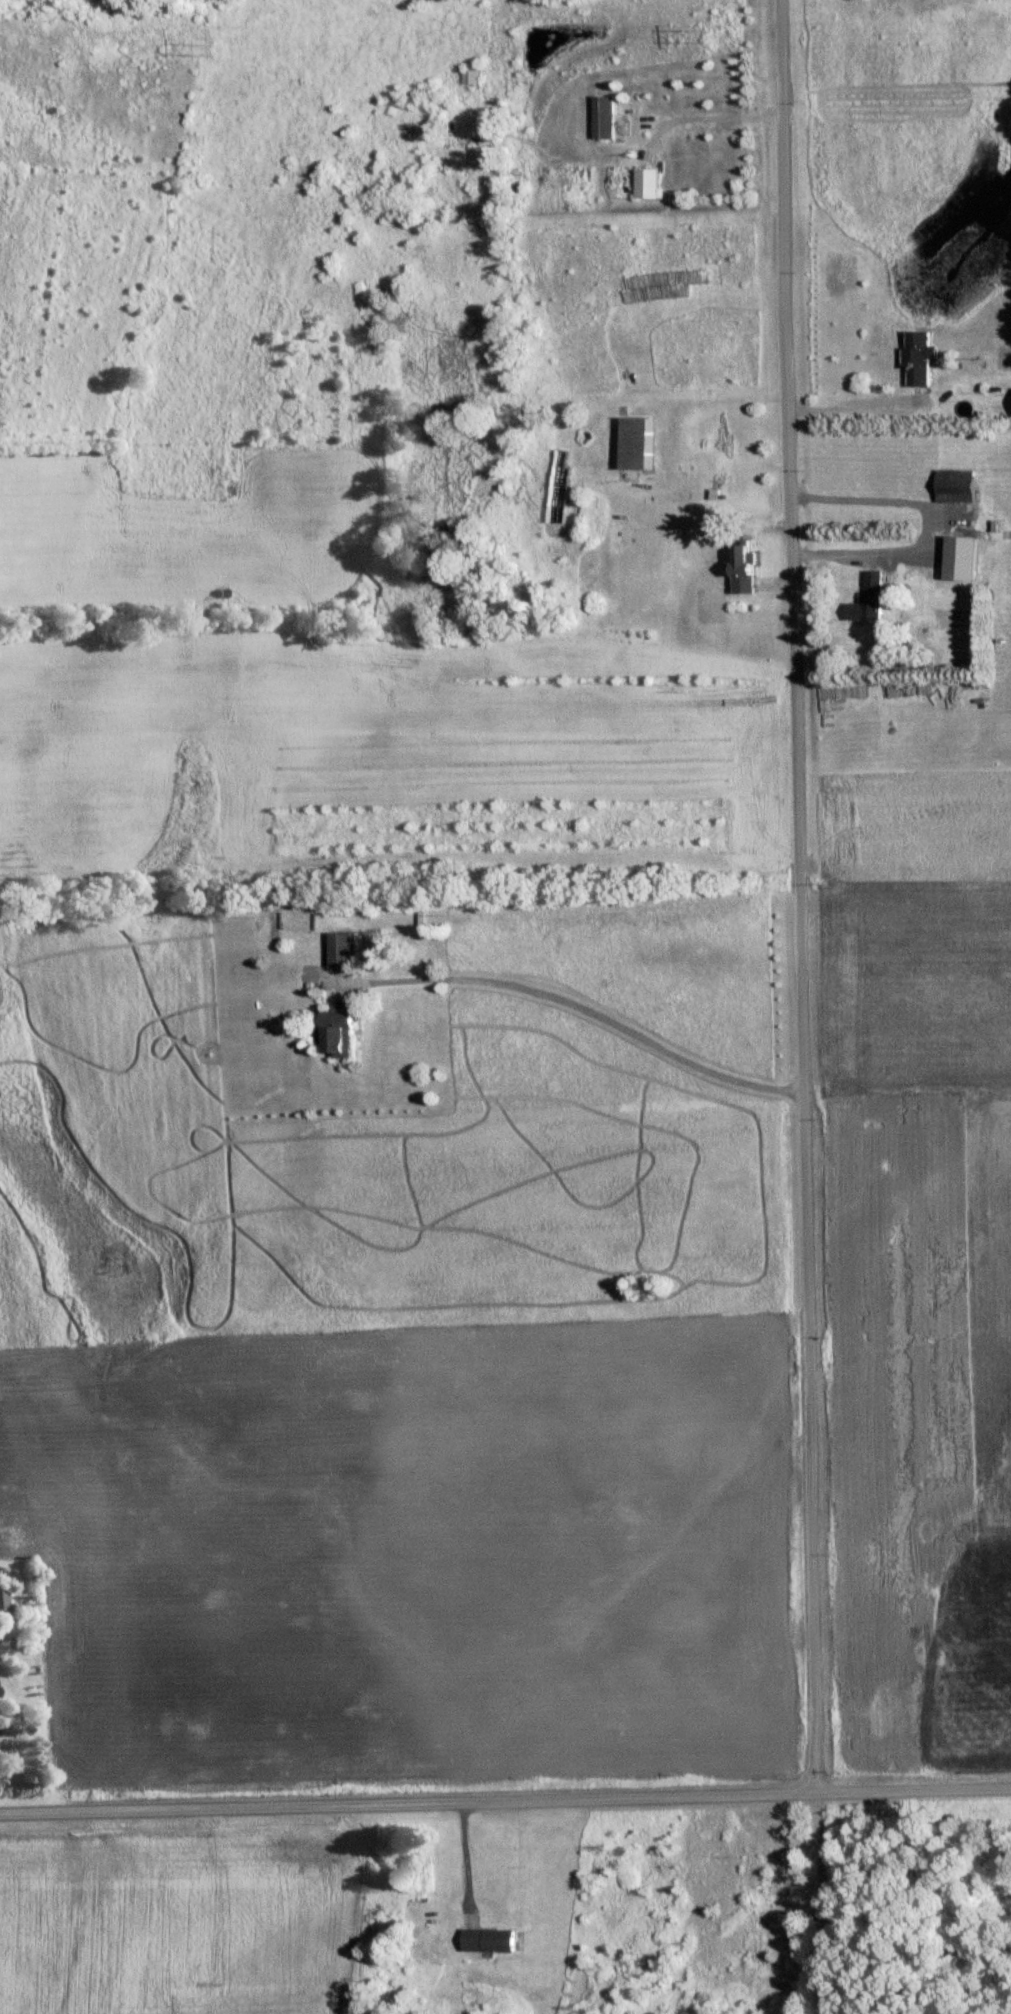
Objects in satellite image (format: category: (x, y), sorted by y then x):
power tower: (714, 35)
power tower: (212, 51)
building: (472, 75)
building: (609, 115)
building: (485, 154)
building: (651, 182)
building: (925, 354)
building: (637, 440)
building: (961, 482)
building: (967, 555)
building: (747, 566)
building: (871, 596)
road: (797, 944)
building: (345, 947)
building: (342, 1030)
building: (4, 1601)
road: (505, 1802)
road: (465, 1860)
road: (472, 1922)
building: (488, 1944)

